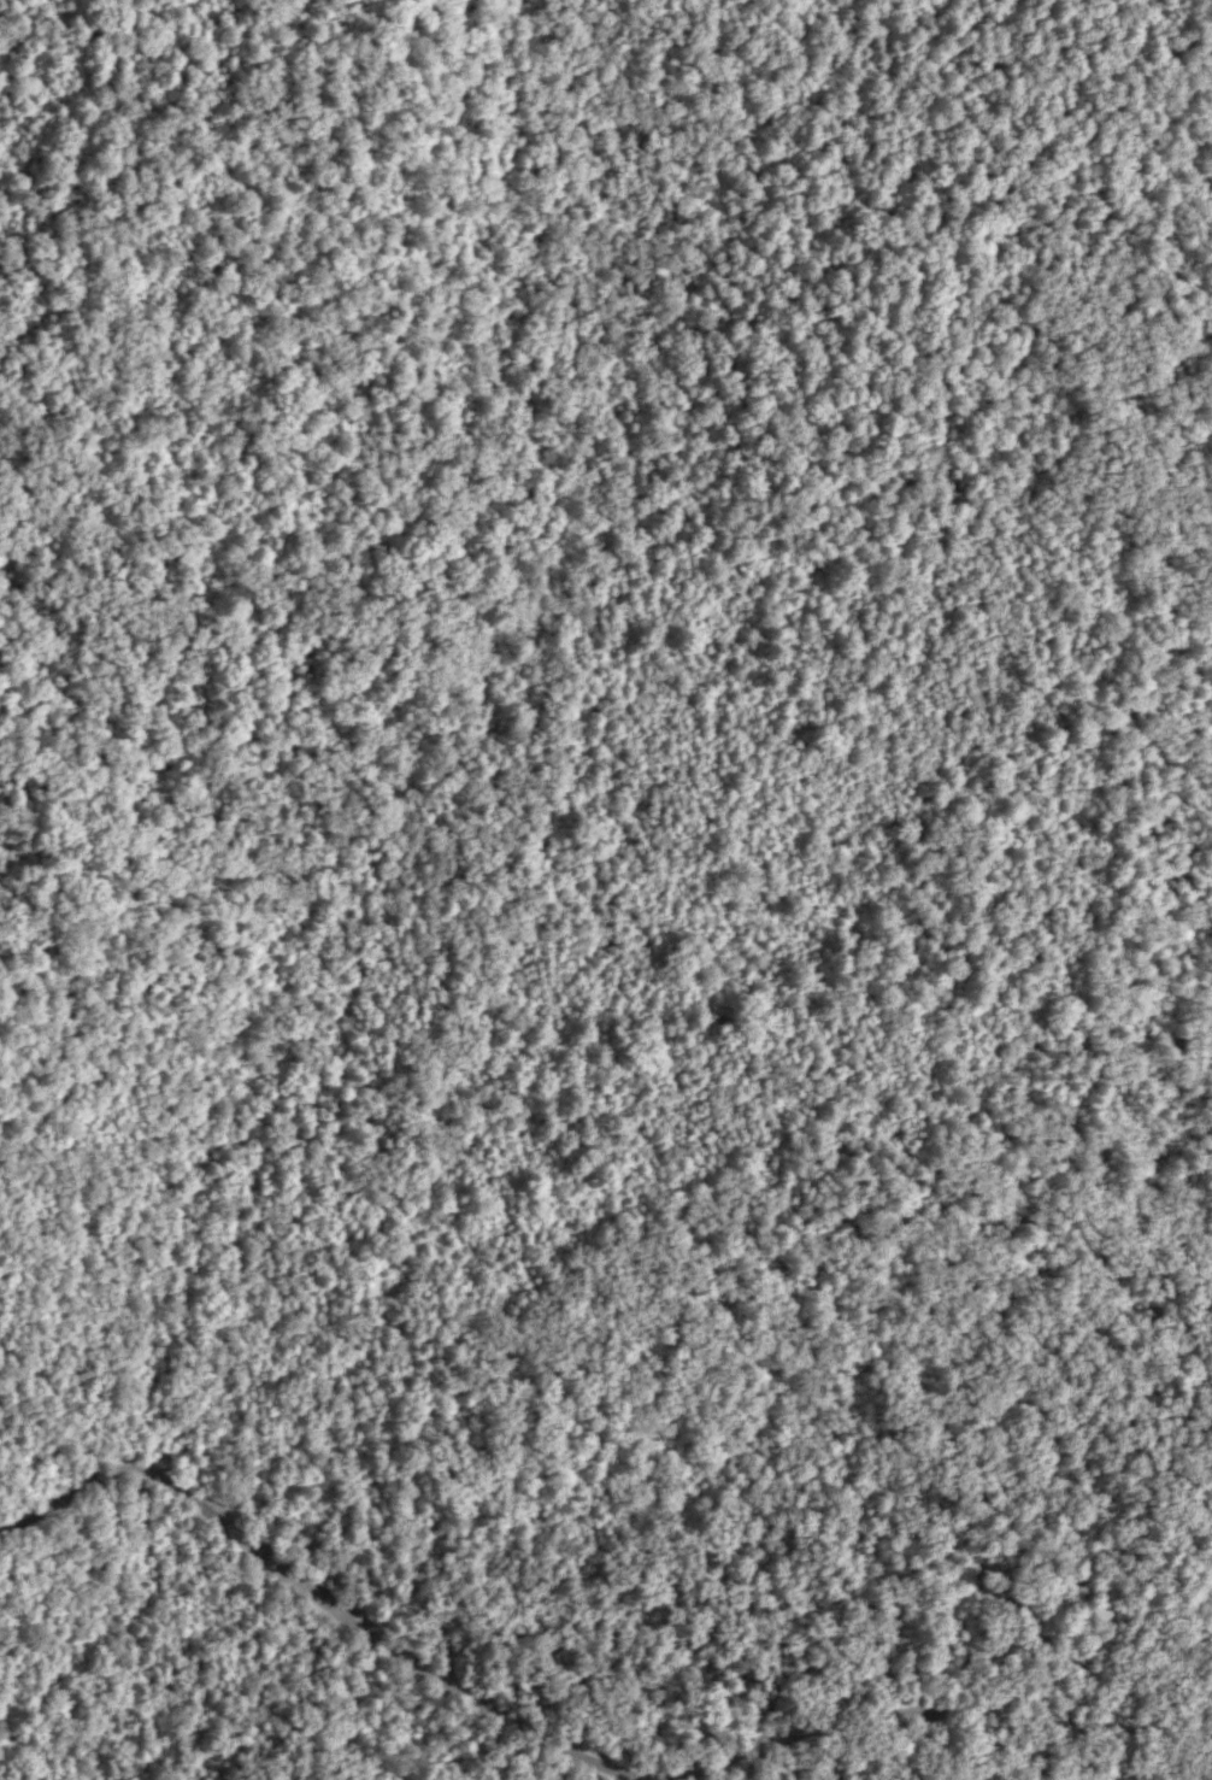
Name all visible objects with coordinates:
road: (317, 1600)
road: (939, 1719)

